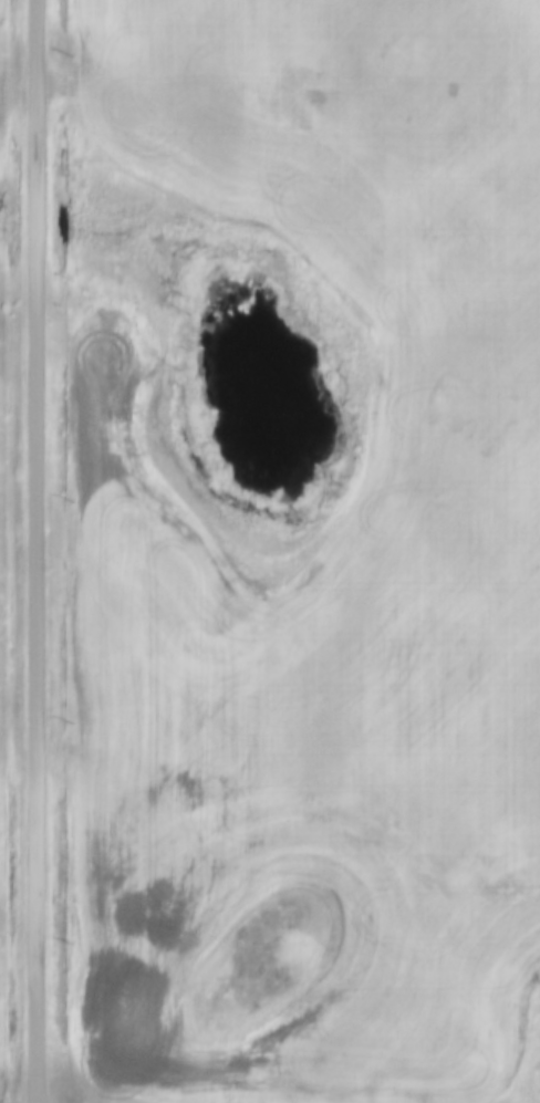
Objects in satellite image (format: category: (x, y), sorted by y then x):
road: (35, 551)

